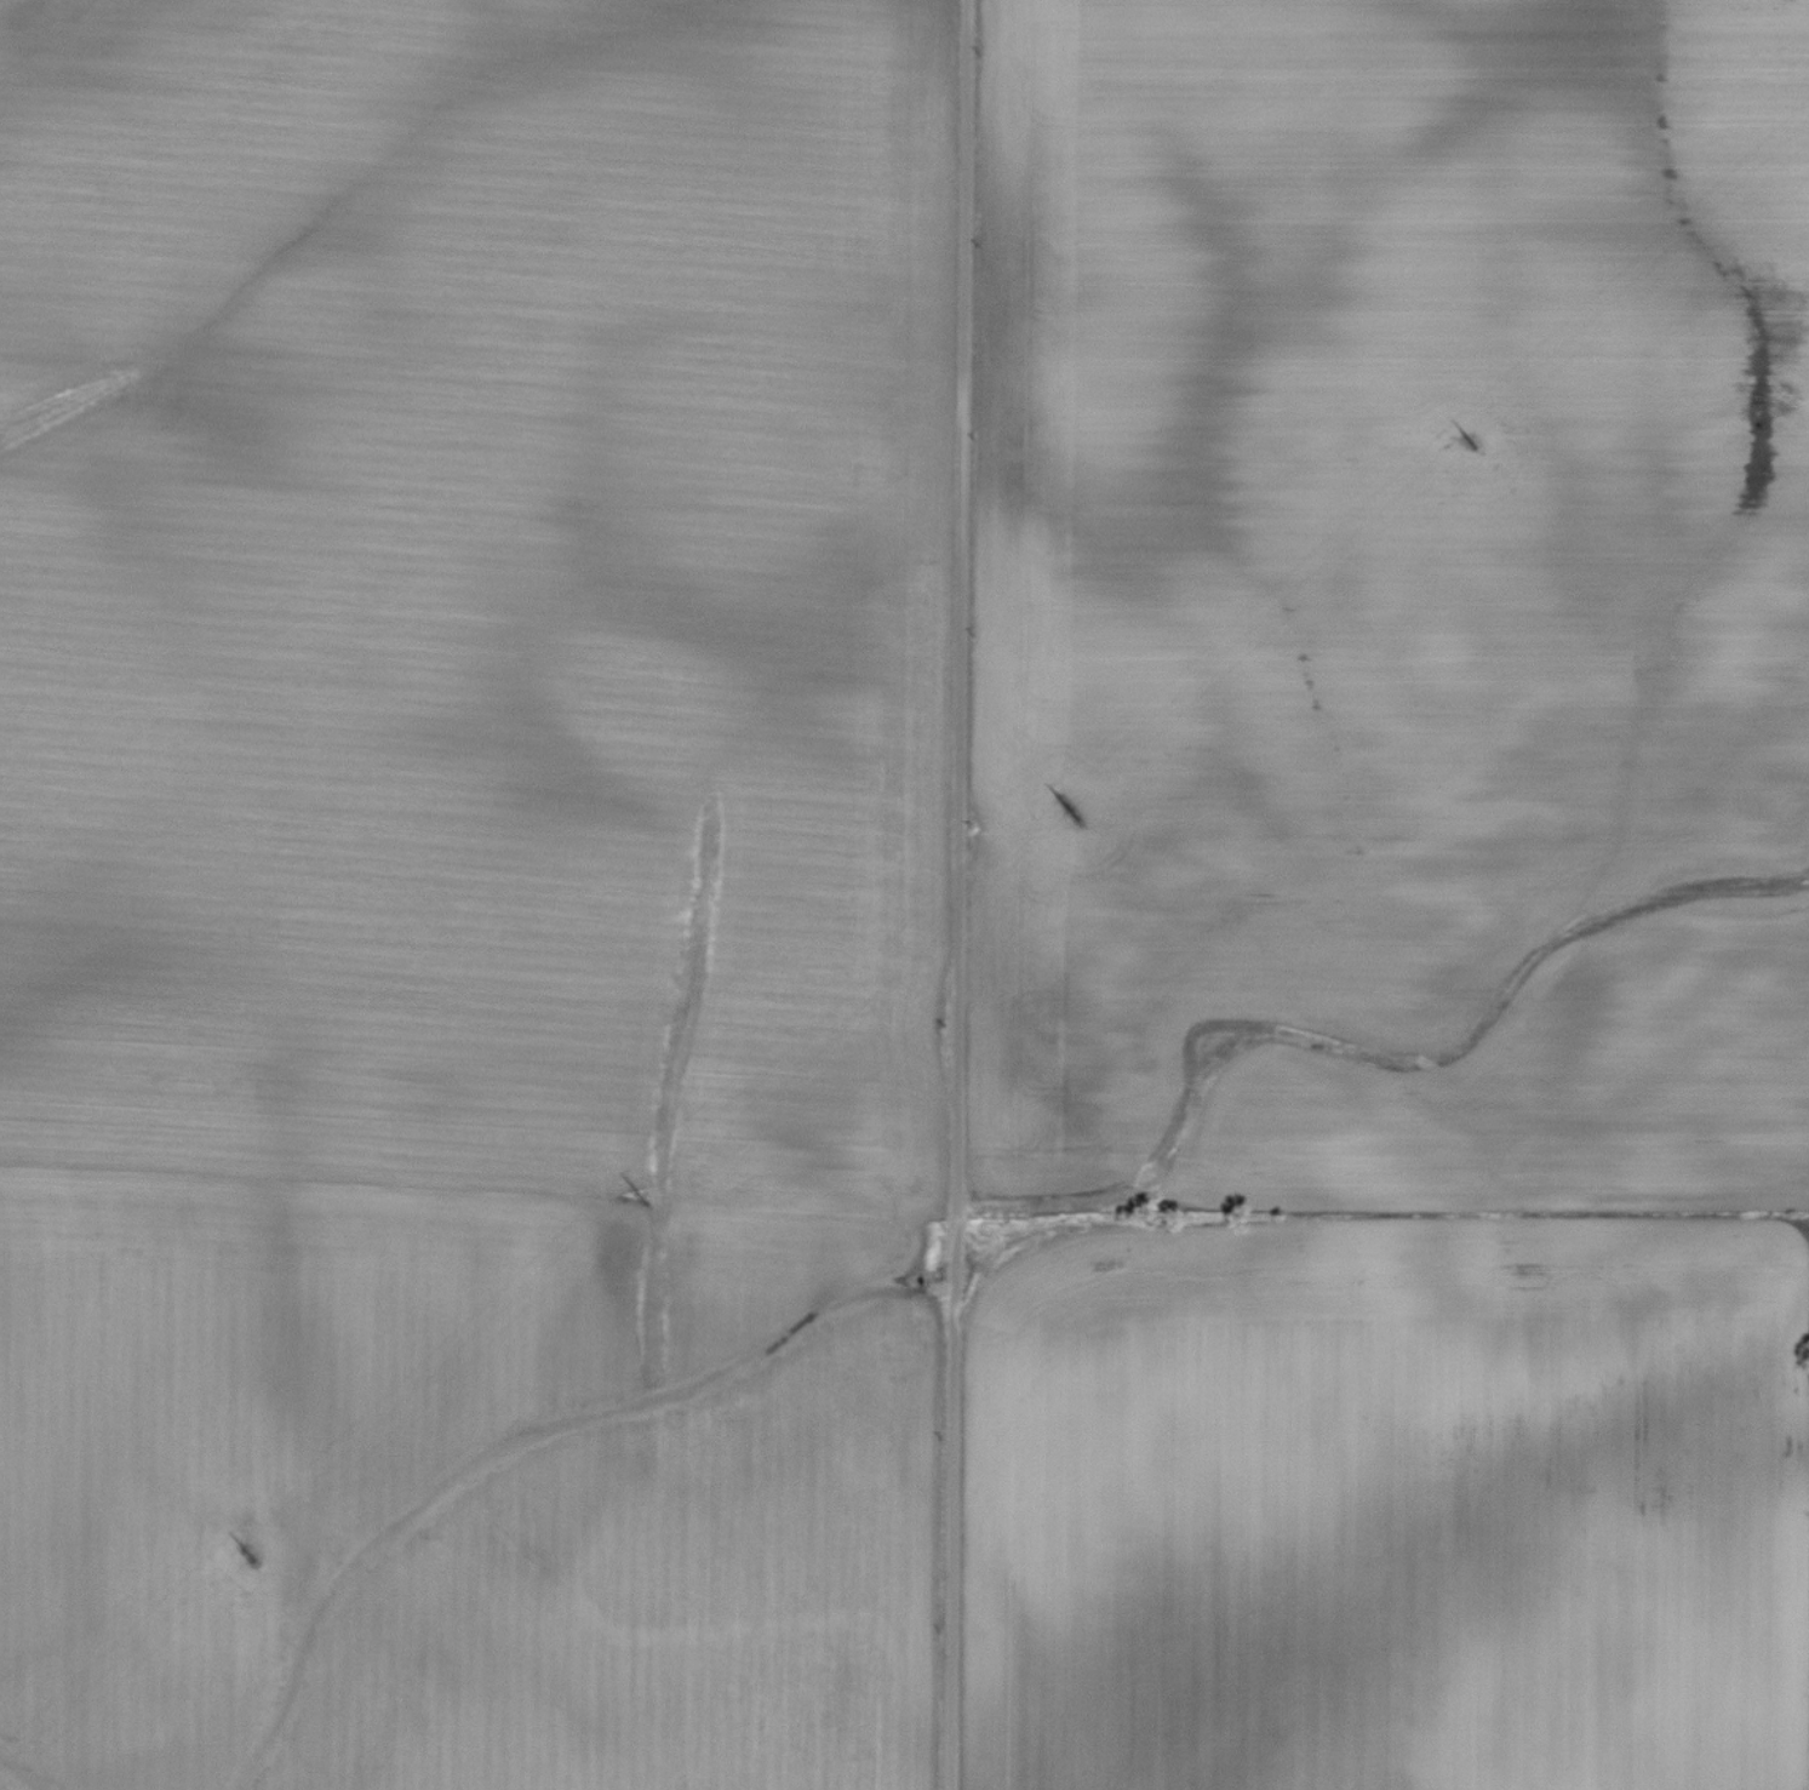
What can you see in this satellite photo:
power tower: (1472, 442)
power tower: (1069, 810)
road: (968, 894)
power tower: (636, 1201)
power tower: (246, 1560)

